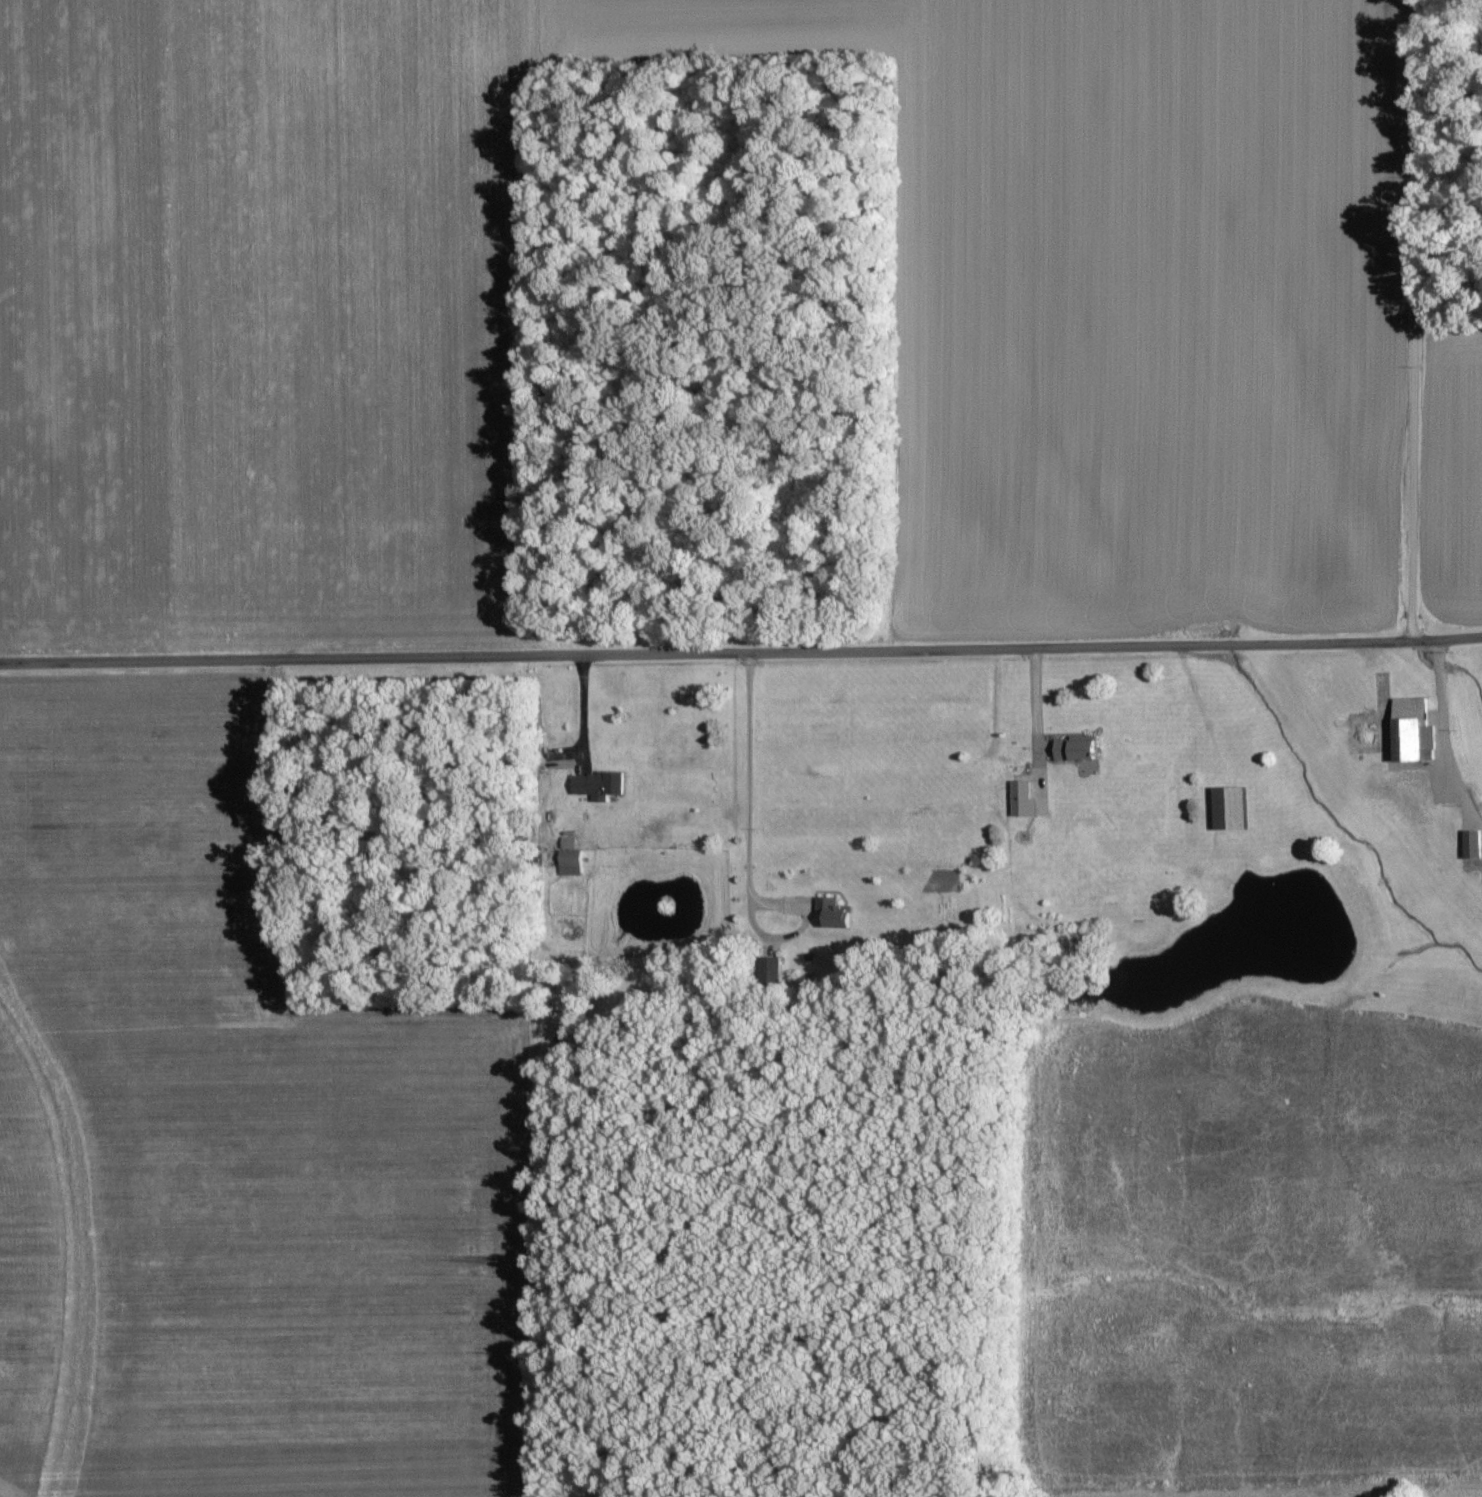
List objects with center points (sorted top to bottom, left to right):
road: (1409, 322)
road: (741, 653)
road: (1031, 709)
road: (580, 712)
building: (1410, 732)
road: (1440, 736)
building: (1073, 751)
building: (596, 786)
building: (1019, 800)
road: (748, 825)
building: (1470, 845)
building: (567, 859)
building: (832, 915)
building: (769, 971)

